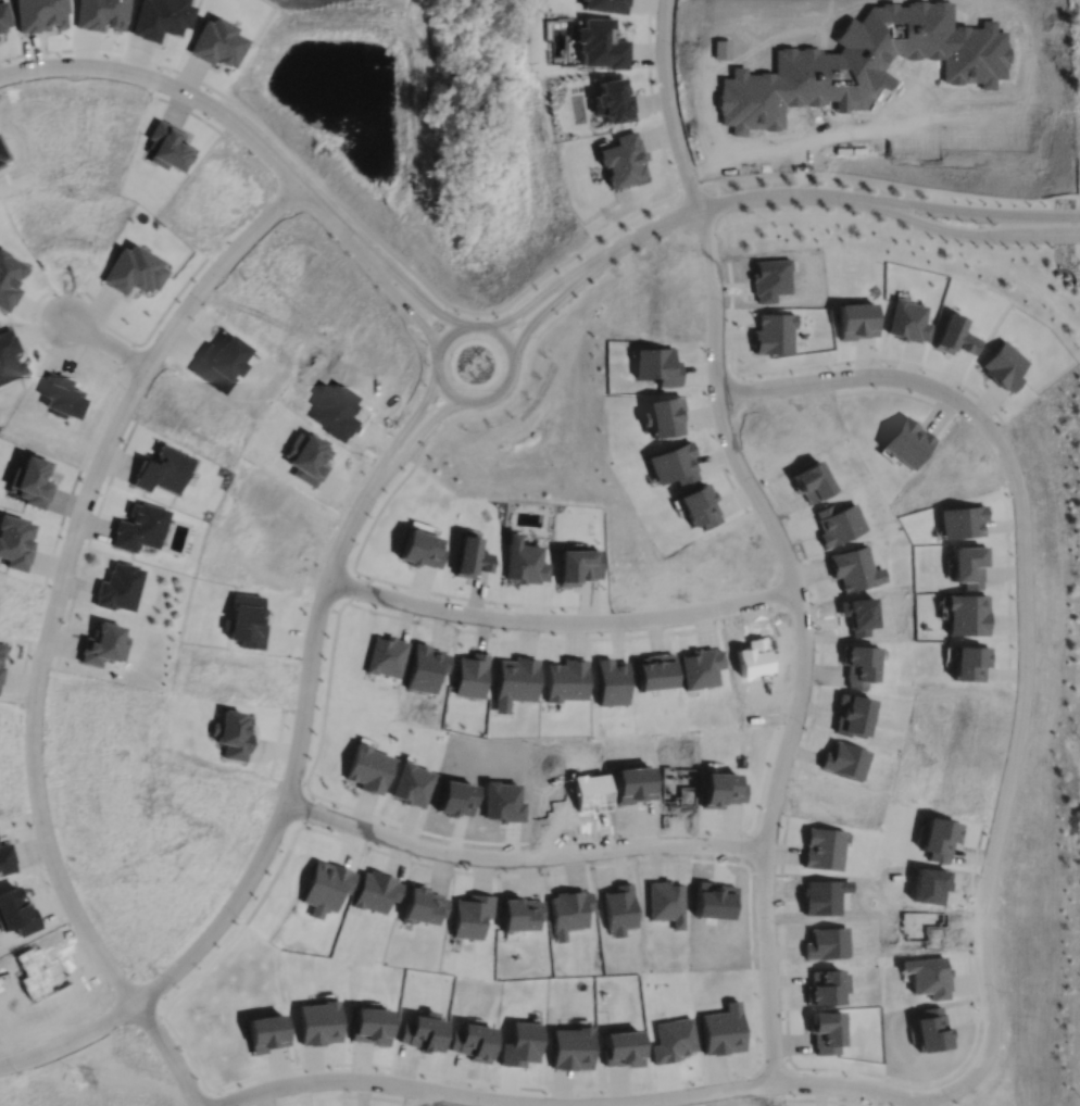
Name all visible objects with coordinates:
building: (605, 4)
building: (100, 13)
building: (38, 14)
building: (2, 16)
building: (159, 17)
building: (216, 43)
building: (600, 43)
building: (863, 62)
building: (612, 100)
road: (204, 102)
road: (805, 134)
building: (166, 148)
building: (2, 154)
building: (621, 159)
street lamp: (727, 190)
road: (725, 202)
street lamp: (1068, 205)
street lamp: (845, 210)
road: (976, 211)
road: (934, 227)
road: (1040, 236)
street lamp: (996, 244)
street lamp: (641, 246)
building: (133, 273)
building: (9, 278)
building: (771, 281)
road: (414, 290)
road: (538, 293)
road: (398, 299)
road: (548, 306)
road: (469, 311)
road: (430, 317)
building: (852, 318)
road: (520, 319)
building: (906, 321)
building: (773, 332)
building: (954, 335)
road: (505, 342)
road: (105, 344)
building: (9, 356)
building: (219, 362)
road: (424, 363)
building: (1003, 364)
road: (524, 365)
building: (656, 365)
road: (854, 375)
building: (61, 397)
road: (430, 407)
building: (336, 412)
building: (663, 415)
road: (405, 425)
road: (416, 436)
building: (907, 440)
building: (307, 458)
building: (669, 463)
building: (163, 472)
building: (33, 479)
building: (808, 480)
building: (694, 504)
building: (958, 520)
building: (836, 523)
building: (140, 528)
road: (778, 536)
building: (16, 540)
building: (420, 549)
building: (472, 556)
building: (523, 561)
building: (577, 565)
building: (965, 565)
building: (852, 568)
building: (118, 587)
building: (964, 614)
building: (246, 620)
road: (561, 621)
road: (47, 629)
building: (104, 643)
building: (1, 650)
building: (387, 654)
building: (756, 658)
building: (966, 663)
building: (857, 665)
building: (427, 666)
building: (698, 667)
building: (654, 670)
building: (1, 673)
building: (470, 675)
building: (565, 679)
building: (514, 680)
building: (610, 681)
building: (852, 714)
building: (231, 733)
building: (957, 745)
road: (1014, 750)
building: (842, 761)
building: (368, 767)
building: (410, 783)
building: (939, 787)
building: (639, 789)
building: (682, 789)
building: (724, 793)
building: (596, 800)
building: (830, 800)
building: (457, 801)
building: (552, 802)
building: (508, 809)
road: (272, 831)
building: (940, 839)
building: (824, 849)
building: (5, 858)
road: (520, 858)
building: (327, 885)
building: (931, 887)
building: (376, 890)
building: (824, 900)
building: (667, 901)
building: (718, 903)
building: (422, 906)
building: (620, 908)
building: (570, 910)
building: (16, 912)
building: (523, 913)
building: (472, 916)
building: (925, 930)
building: (826, 945)
building: (38, 968)
building: (927, 976)
building: (827, 991)
building: (319, 1022)
building: (372, 1026)
building: (930, 1029)
building: (723, 1030)
building: (424, 1031)
building: (267, 1032)
building: (828, 1032)
building: (675, 1040)
building: (474, 1041)
building: (522, 1044)
building: (573, 1048)
building: (625, 1048)
road: (591, 1104)

